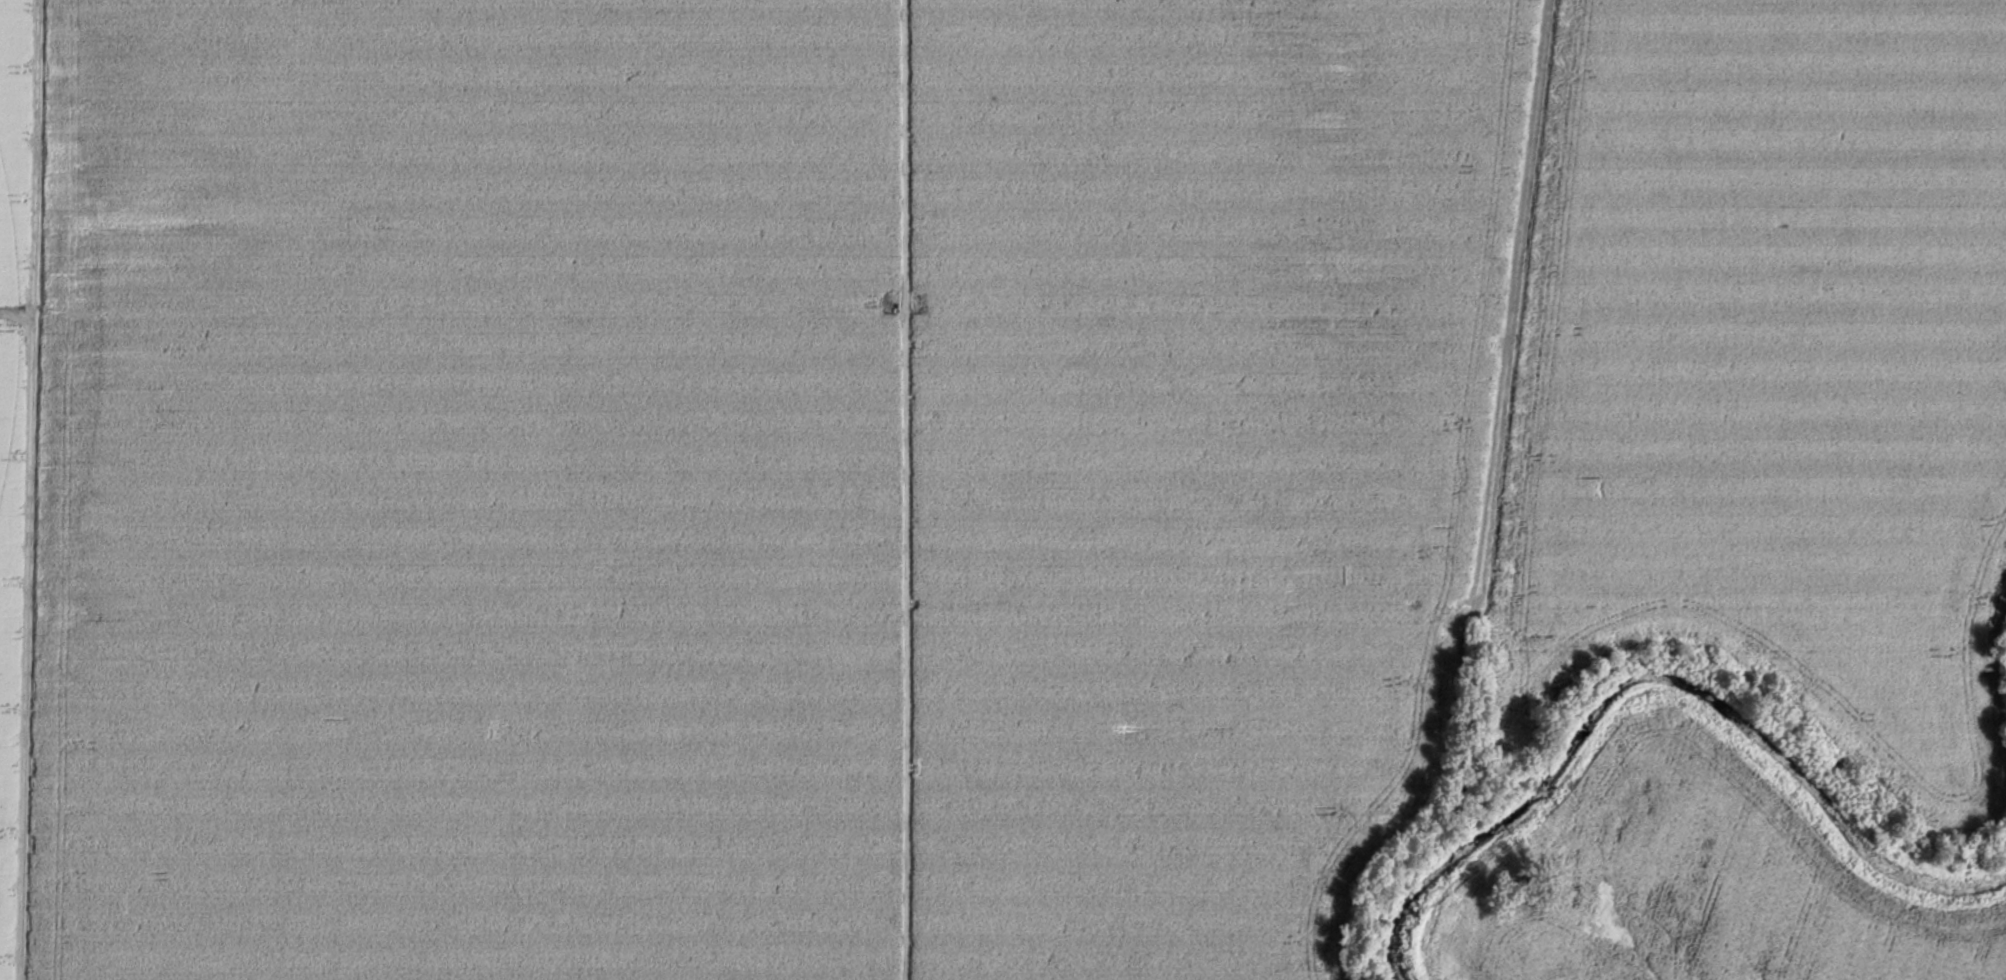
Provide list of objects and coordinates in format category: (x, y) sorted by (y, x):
road: (911, 490)
road: (1480, 508)

